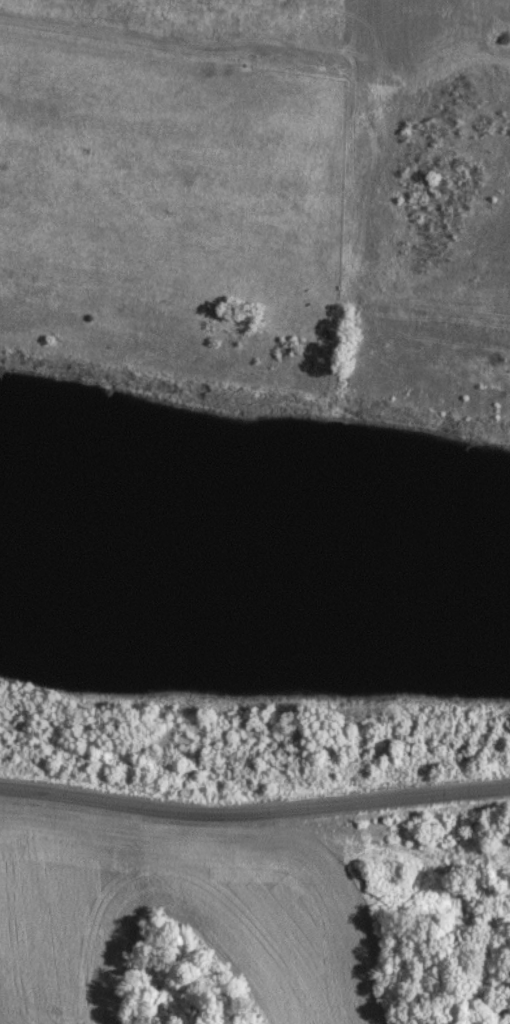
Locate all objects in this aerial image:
road: (253, 818)

